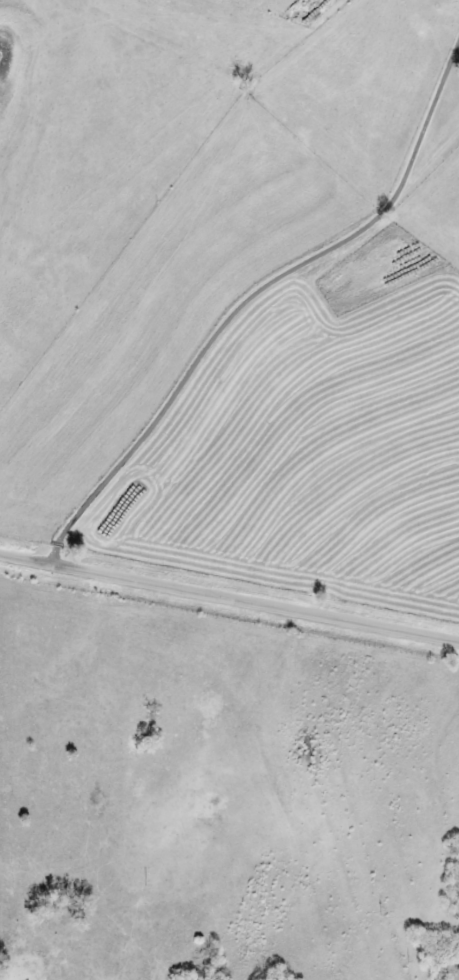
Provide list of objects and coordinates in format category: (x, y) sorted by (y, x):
road: (258, 292)
road: (229, 598)
building: (458, 961)
building: (454, 974)

